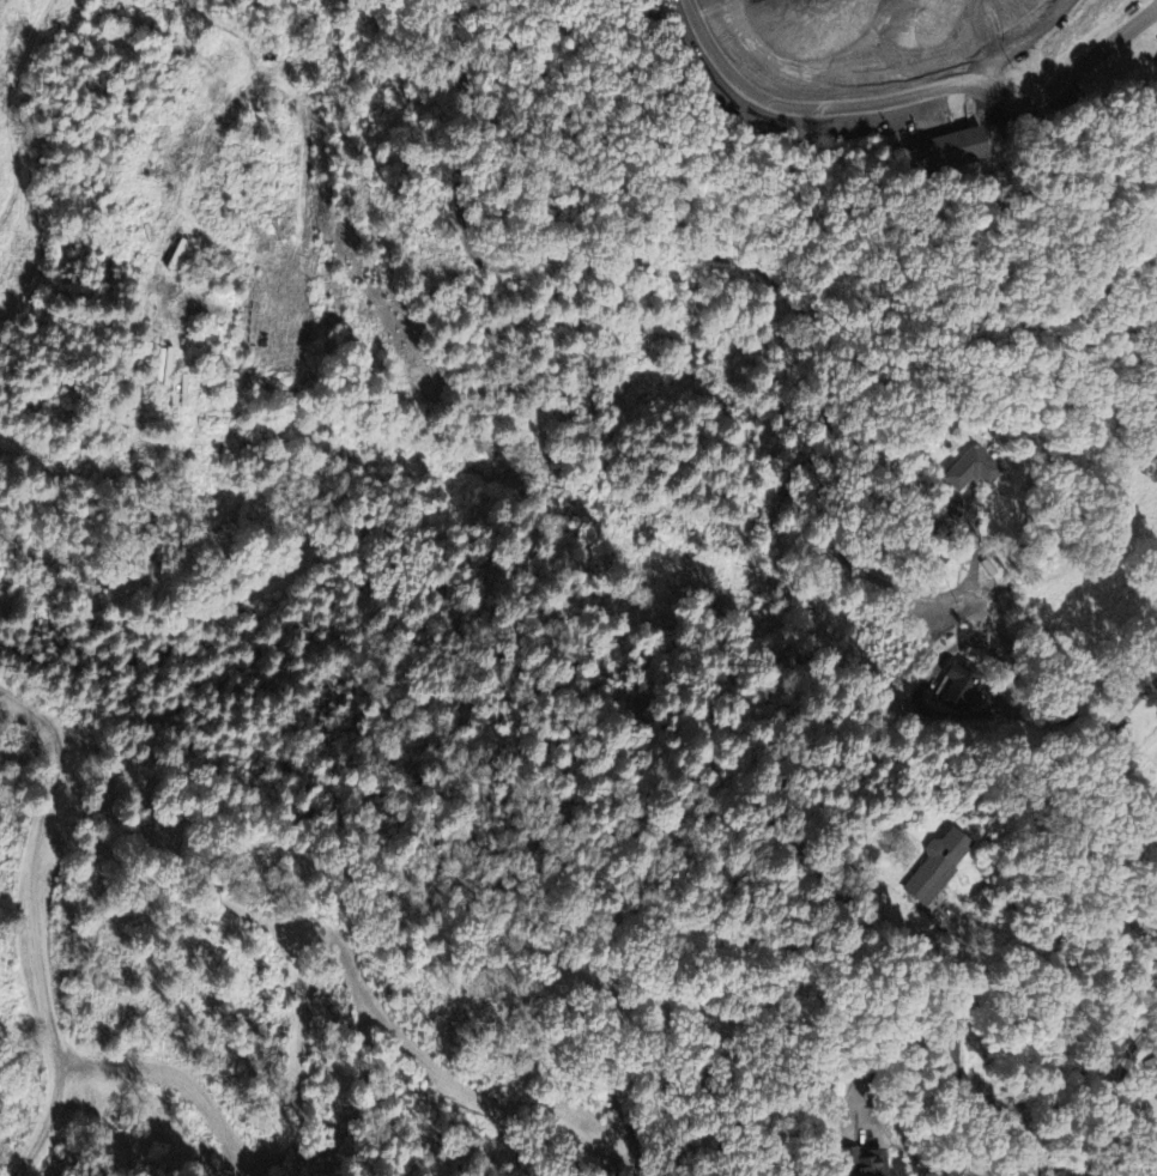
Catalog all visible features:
road: (1006, 46)
building: (1156, 65)
road: (1065, 78)
road: (800, 92)
building: (946, 148)
road: (722, 254)
building: (971, 467)
road: (944, 655)
building: (962, 687)
road: (1116, 837)
building: (937, 865)
road: (34, 922)
road: (884, 1047)
road: (957, 1057)
building: (1155, 1075)
road: (1116, 1093)
building: (866, 1162)

